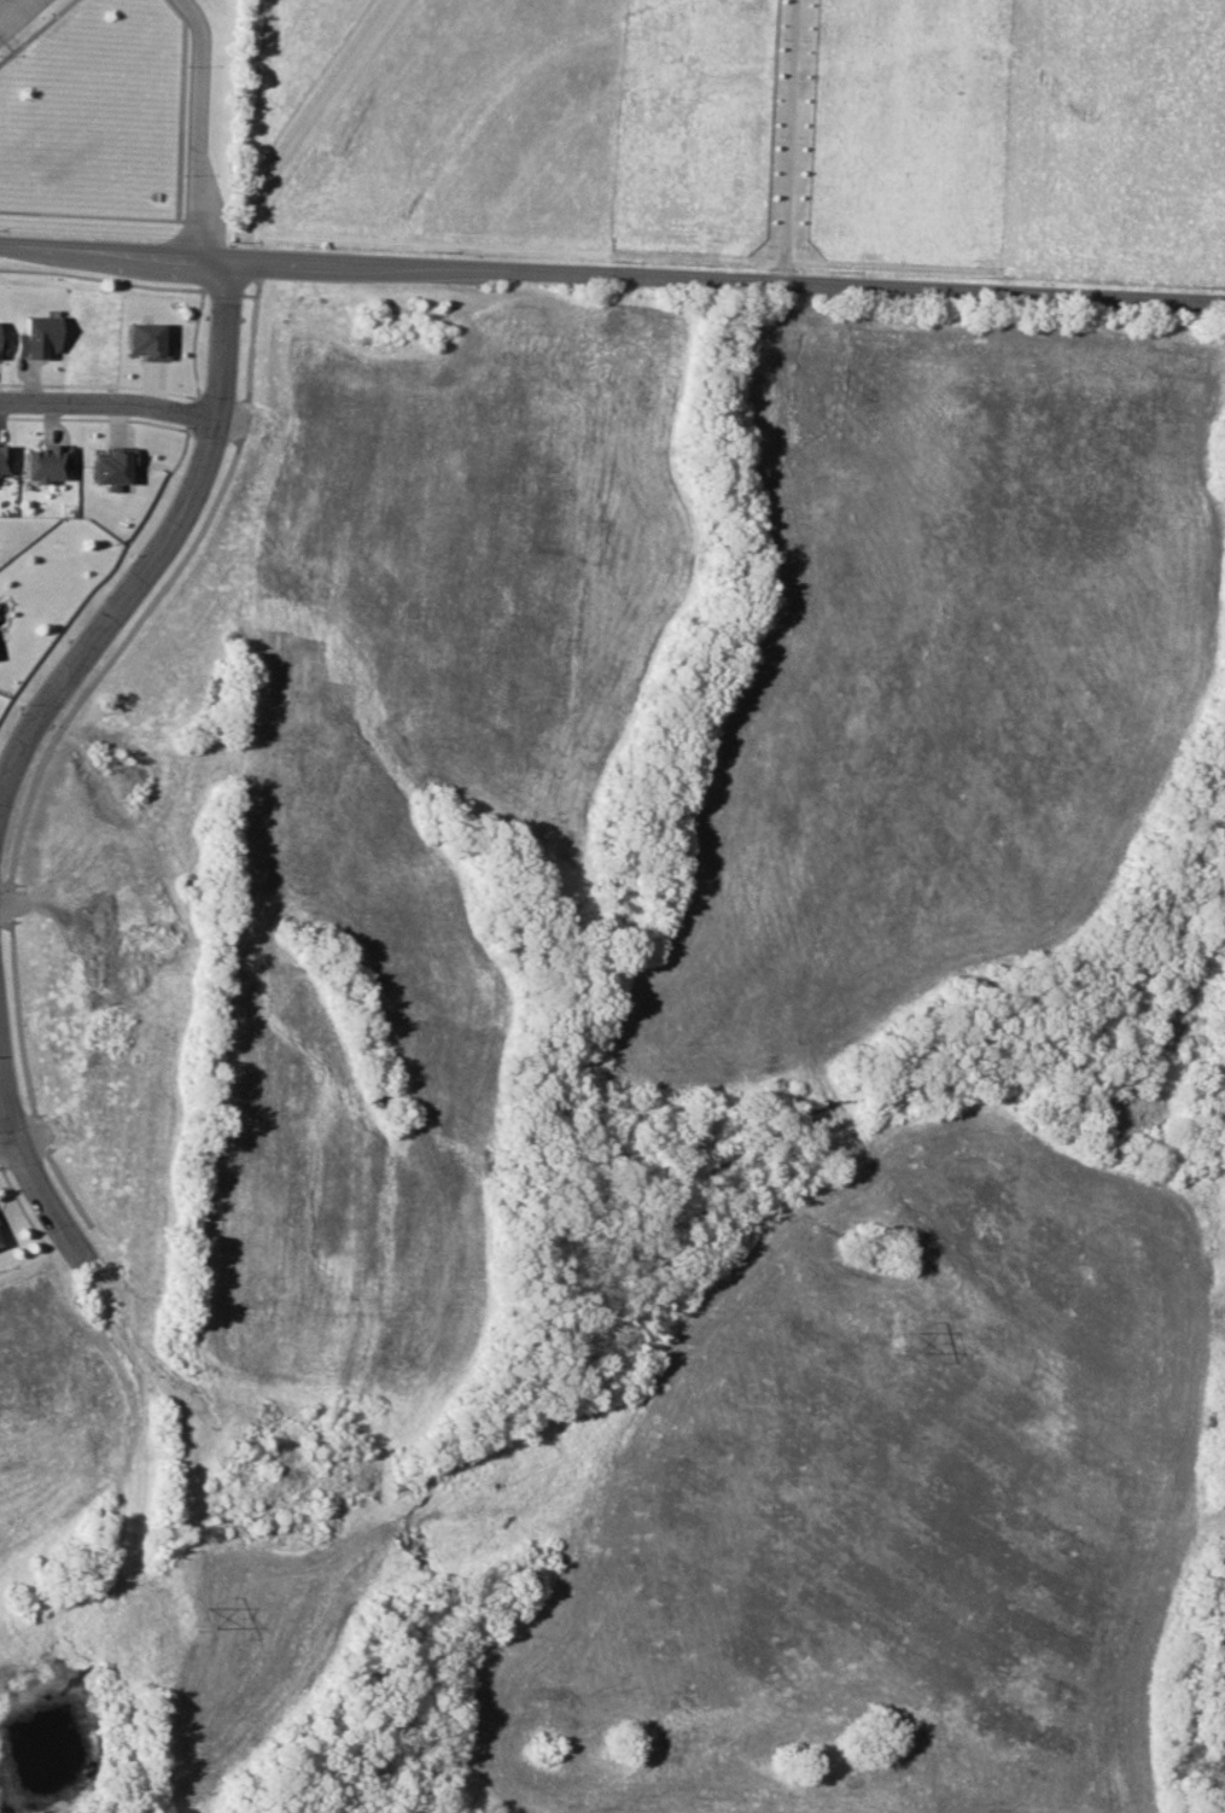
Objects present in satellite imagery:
road: (5, 4)
road: (294, 124)
road: (197, 127)
road: (787, 142)
road: (612, 278)
building: (37, 337)
building: (145, 340)
building: (1, 346)
road: (109, 402)
building: (2, 459)
building: (45, 462)
building: (112, 465)
road: (159, 546)
road: (14, 902)
road: (10, 1147)
road: (31, 1173)
power tower: (899, 1340)
power tower: (188, 1611)

